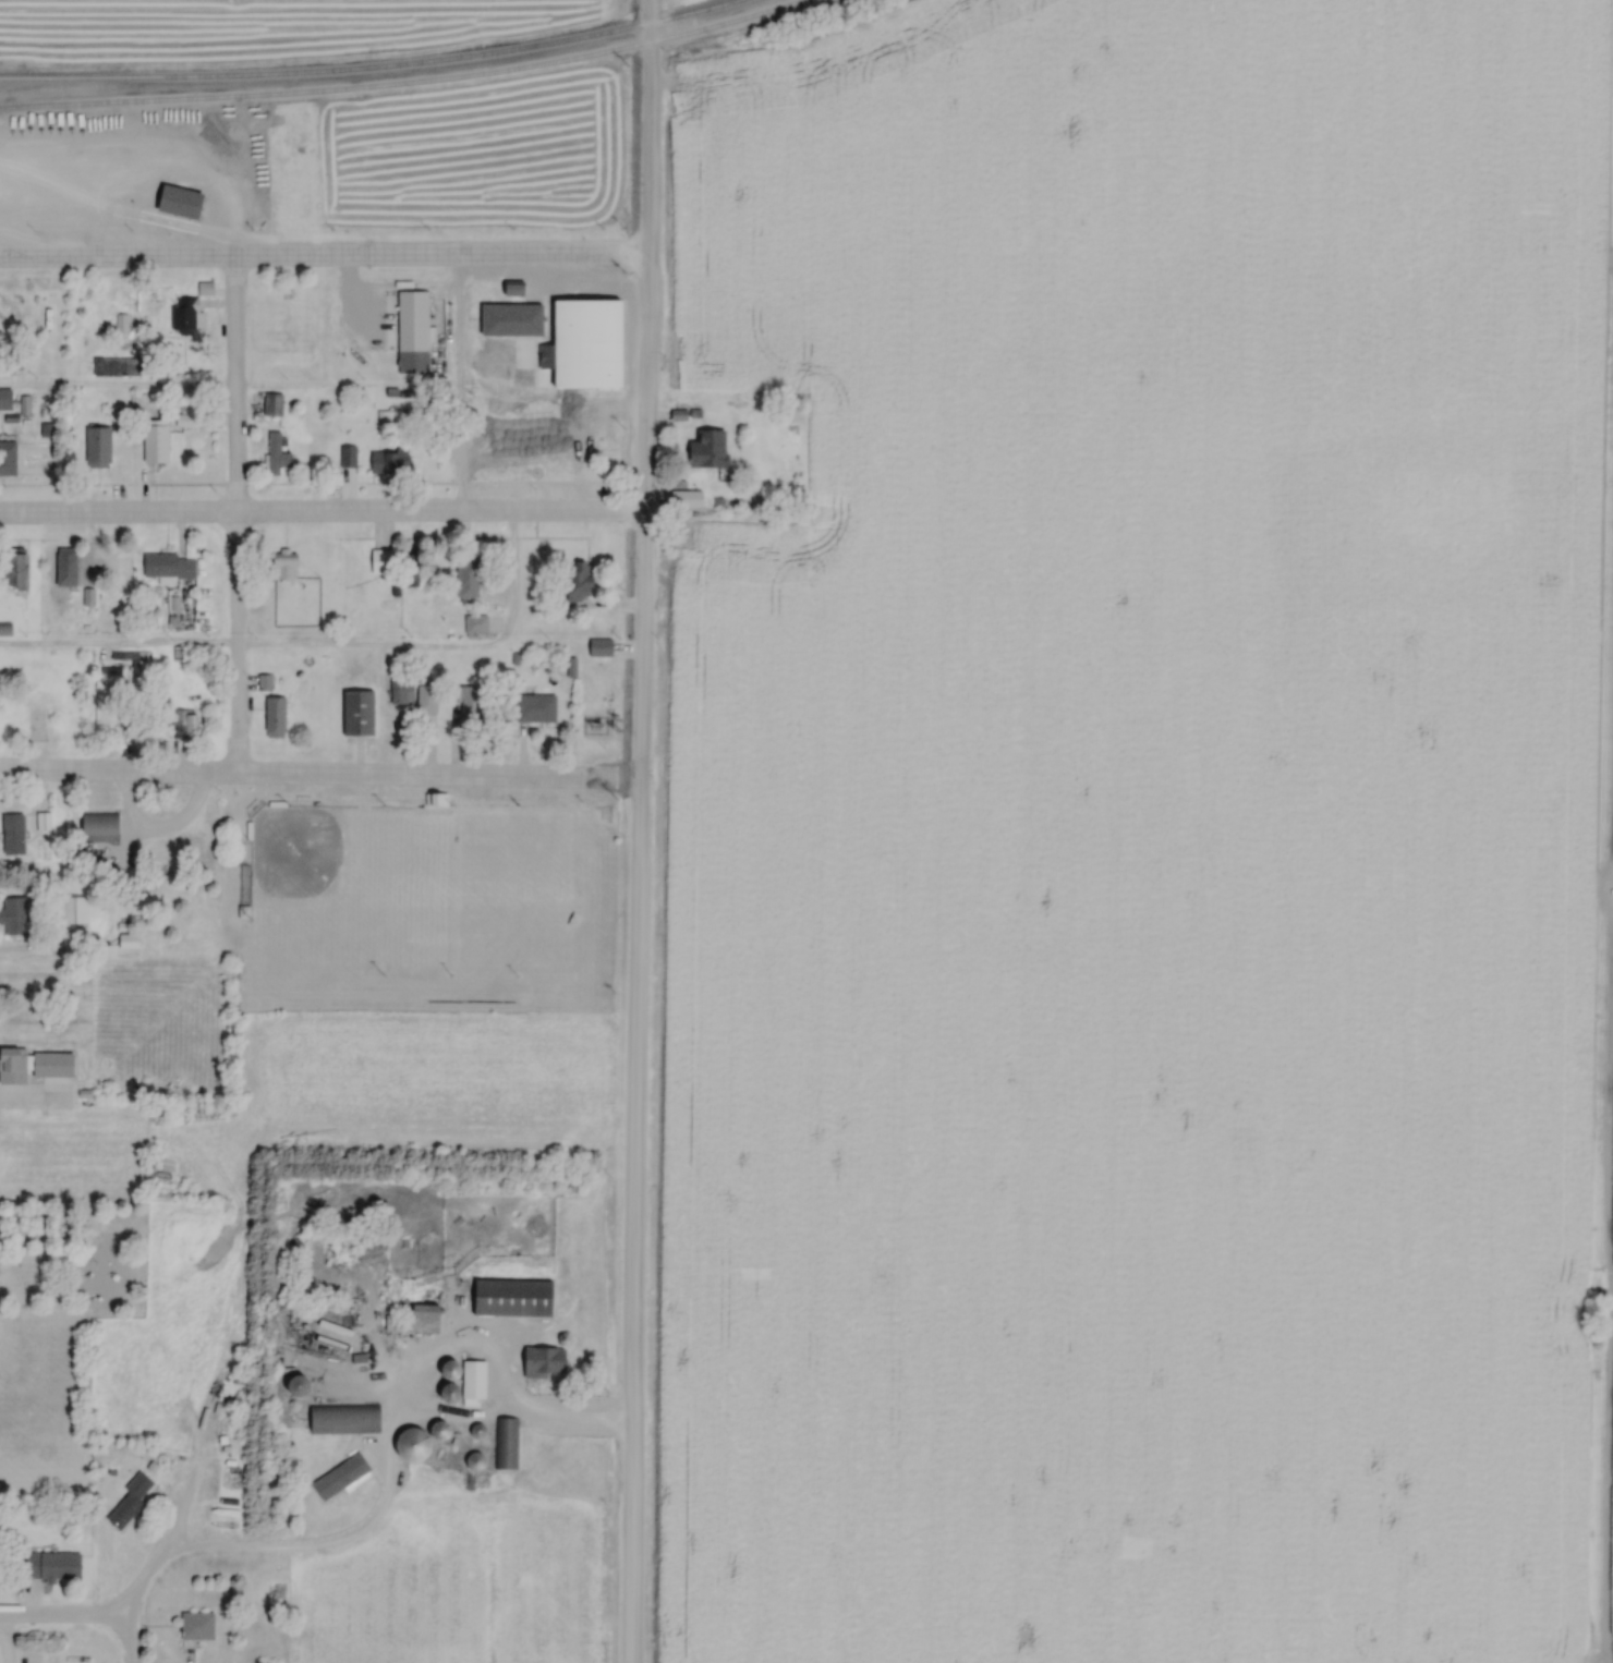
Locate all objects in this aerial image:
railway: (357, 64)
railway: (395, 81)
building: (166, 157)
building: (117, 158)
building: (215, 189)
road: (259, 191)
building: (286, 203)
road: (325, 260)
building: (183, 315)
building: (422, 361)
building: (116, 365)
building: (553, 366)
road: (461, 385)
road: (117, 389)
building: (4, 399)
building: (271, 405)
building: (155, 442)
building: (97, 447)
building: (708, 449)
building: (276, 454)
building: (347, 457)
building: (8, 458)
building: (386, 462)
road: (322, 510)
road: (233, 520)
building: (380, 562)
building: (167, 566)
building: (284, 566)
building: (65, 568)
building: (16, 571)
building: (466, 581)
building: (578, 581)
building: (474, 626)
road: (319, 647)
building: (598, 647)
building: (399, 689)
building: (426, 694)
building: (470, 704)
building: (534, 708)
building: (357, 713)
building: (274, 716)
building: (183, 723)
road: (319, 779)
building: (98, 825)
road: (639, 830)
building: (12, 834)
road: (158, 835)
building: (72, 909)
building: (13, 915)
building: (126, 940)
building: (13, 1064)
building: (52, 1064)
building: (513, 1297)
building: (421, 1311)
building: (391, 1322)
building: (545, 1361)
building: (474, 1377)
building: (345, 1419)
building: (439, 1434)
building: (504, 1443)
building: (414, 1444)
building: (474, 1461)
road: (384, 1464)
building: (339, 1477)
building: (130, 1501)
building: (49, 1566)
road: (145, 1570)
road: (111, 1604)
road: (73, 1613)
building: (196, 1626)
road: (2, 1648)

